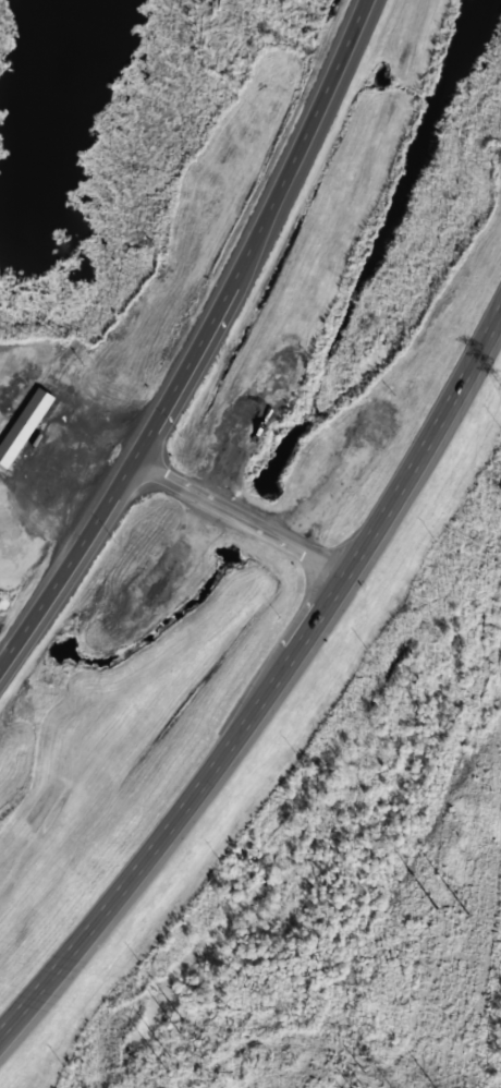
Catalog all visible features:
road: (266, 238)
building: (24, 427)
road: (431, 460)
road: (241, 522)
road: (66, 567)
road: (183, 822)

